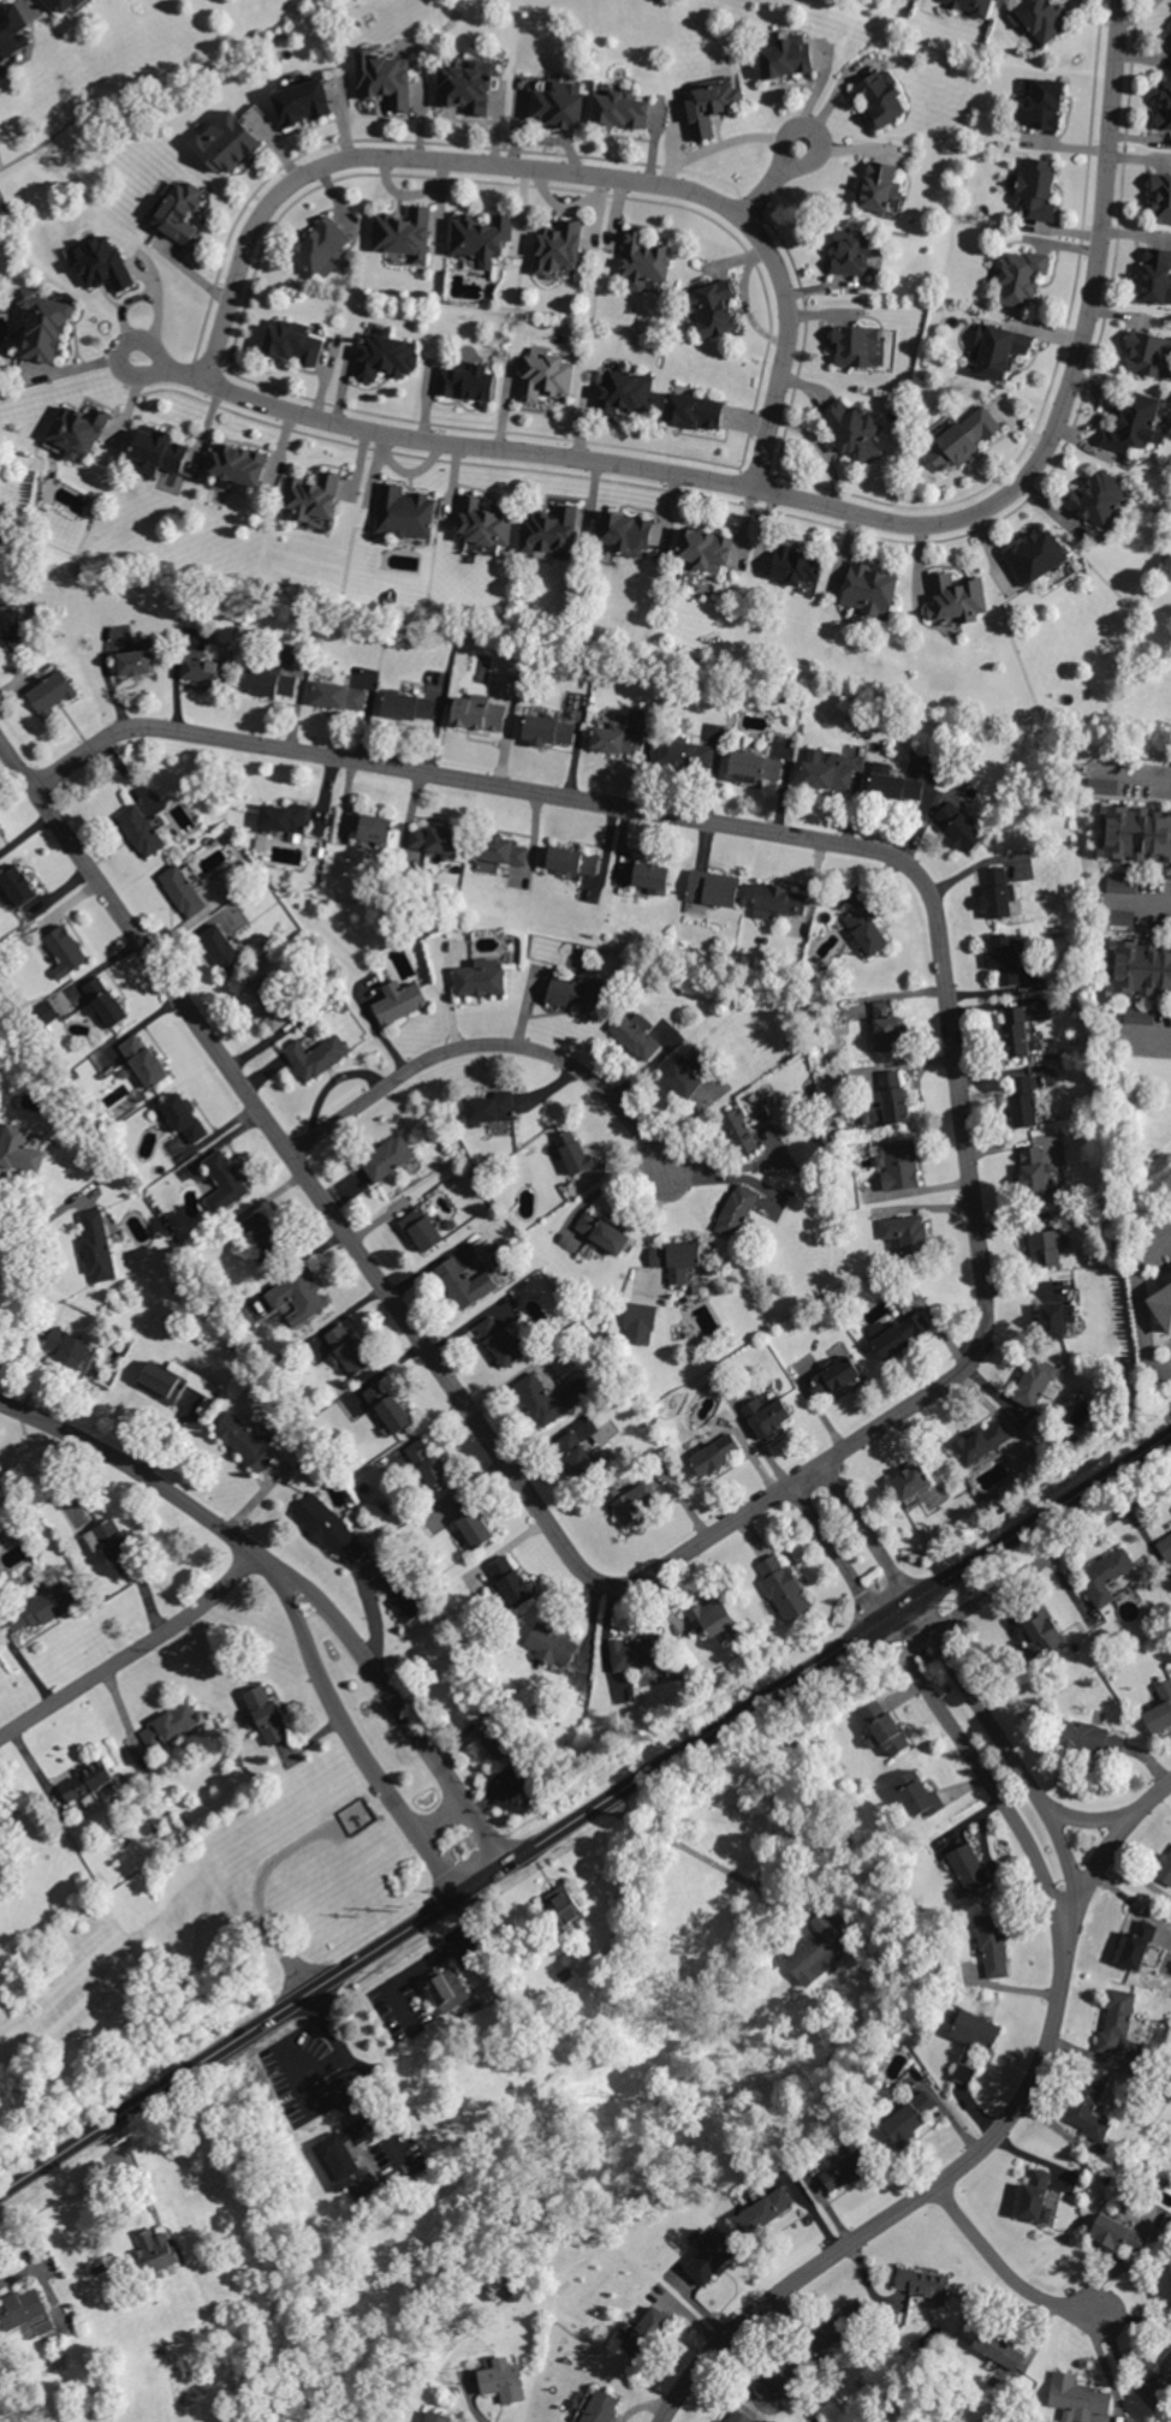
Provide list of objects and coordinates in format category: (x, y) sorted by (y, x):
building: (71, 6)
building: (971, 6)
building: (1039, 17)
building: (12, 31)
building: (786, 56)
building: (385, 77)
building: (468, 87)
building: (880, 99)
building: (303, 102)
building: (559, 103)
building: (1042, 103)
building: (709, 105)
building: (620, 109)
road: (818, 130)
building: (225, 142)
road: (551, 172)
building: (876, 186)
building: (1036, 188)
road: (761, 196)
building: (1161, 196)
building: (179, 210)
building: (404, 232)
building: (481, 238)
building: (322, 246)
building: (559, 246)
building: (852, 252)
building: (643, 261)
building: (101, 263)
building: (1020, 275)
building: (1157, 276)
building: (713, 308)
building: (44, 325)
building: (292, 341)
building: (860, 346)
building: (998, 349)
building: (385, 355)
building: (1149, 355)
road: (127, 367)
building: (545, 375)
building: (466, 381)
building: (625, 392)
building: (695, 411)
building: (1136, 423)
building: (854, 429)
building: (76, 432)
building: (967, 434)
building: (157, 451)
building: (238, 463)
building: (311, 495)
building: (1098, 496)
road: (849, 510)
building: (405, 512)
building: (483, 523)
building: (4, 526)
building: (549, 532)
building: (626, 532)
building: (706, 548)
building: (1036, 555)
building: (795, 565)
building: (869, 589)
building: (957, 597)
building: (11, 624)
building: (136, 662)
building: (202, 667)
building: (269, 683)
building: (52, 691)
building: (339, 695)
building: (409, 706)
building: (478, 712)
building: (548, 730)
building: (617, 739)
building: (686, 752)
building: (755, 767)
building: (825, 770)
road: (1129, 770)
building: (893, 782)
building: (1102, 786)
building: (284, 817)
building: (959, 826)
building: (141, 829)
building: (374, 829)
building: (1134, 832)
road: (827, 834)
building: (436, 843)
building: (0, 847)
building: (501, 849)
building: (572, 861)
building: (652, 876)
building: (18, 883)
building: (713, 887)
building: (183, 891)
building: (997, 891)
building: (5, 895)
building: (779, 901)
road: (1143, 901)
building: (1121, 917)
building: (867, 929)
building: (221, 948)
building: (65, 950)
building: (1006, 959)
building: (1142, 968)
building: (481, 977)
building: (576, 992)
building: (101, 1000)
building: (399, 1000)
building: (266, 1004)
building: (1141, 1016)
building: (886, 1026)
building: (1016, 1030)
building: (636, 1035)
road: (1149, 1035)
road: (493, 1041)
building: (316, 1055)
building: (683, 1078)
building: (888, 1099)
building: (1023, 1100)
building: (492, 1107)
building: (183, 1118)
building: (739, 1131)
building: (19, 1149)
building: (573, 1150)
building: (387, 1156)
building: (898, 1164)
building: (1033, 1168)
building: (225, 1180)
building: (736, 1209)
building: (422, 1228)
building: (602, 1232)
building: (907, 1232)
building: (266, 1233)
building: (96, 1244)
building: (1046, 1248)
road: (359, 1250)
building: (683, 1260)
building: (465, 1283)
building: (298, 1296)
building: (1161, 1299)
building: (1057, 1319)
building: (640, 1323)
building: (894, 1335)
building: (499, 1340)
building: (65, 1346)
building: (347, 1350)
building: (833, 1375)
building: (195, 1380)
building: (161, 1381)
building: (1035, 1382)
building: (551, 1397)
building: (379, 1404)
building: (767, 1414)
building: (244, 1441)
building: (982, 1441)
building: (582, 1444)
building: (715, 1454)
road: (132, 1464)
building: (428, 1464)
building: (911, 1480)
building: (1, 1487)
building: (630, 1501)
building: (470, 1521)
building: (329, 1528)
road: (827, 1536)
road: (874, 1539)
building: (462, 1540)
building: (112, 1545)
building: (1165, 1546)
building: (1106, 1573)
building: (511, 1581)
building: (784, 1588)
road: (989, 1595)
building: (48, 1603)
building: (408, 1605)
building: (712, 1615)
building: (1042, 1631)
road: (131, 1644)
building: (551, 1644)
building: (637, 1653)
road: (396, 1690)
building: (1160, 1709)
building: (267, 1714)
building: (170, 1725)
road: (349, 1725)
building: (885, 1727)
building: (1090, 1737)
road: (1003, 1742)
building: (494, 1744)
road: (979, 1769)
building: (87, 1783)
building: (516, 1793)
building: (917, 1793)
road: (585, 1813)
road: (446, 1816)
road: (1113, 1820)
building: (0, 1837)
road: (1112, 1845)
building: (968, 1867)
building: (1165, 1867)
road: (803, 1898)
building: (564, 1904)
road: (1075, 1906)
building: (993, 1944)
building: (1136, 1944)
building: (819, 1950)
building: (447, 1988)
building: (1117, 2018)
building: (976, 2030)
building: (970, 2058)
building: (964, 2073)
road: (305, 2077)
road: (359, 2078)
road: (308, 2095)
building: (1089, 2106)
building: (909, 2118)
building: (344, 2152)
building: (846, 2170)
building: (1034, 2197)
road: (914, 2203)
building: (765, 2210)
building: (1119, 2233)
building: (156, 2249)
building: (712, 2257)
road: (1004, 2267)
road: (12, 2275)
building: (1164, 2278)
building: (925, 2284)
building: (19, 2309)
building: (842, 2323)
building: (646, 2332)
building: (999, 2349)
building: (1163, 2368)
building: (775, 2375)
building: (503, 2380)
building: (1077, 2398)
building: (601, 2406)
building: (738, 2416)
building: (438, 2417)
building: (719, 2421)

